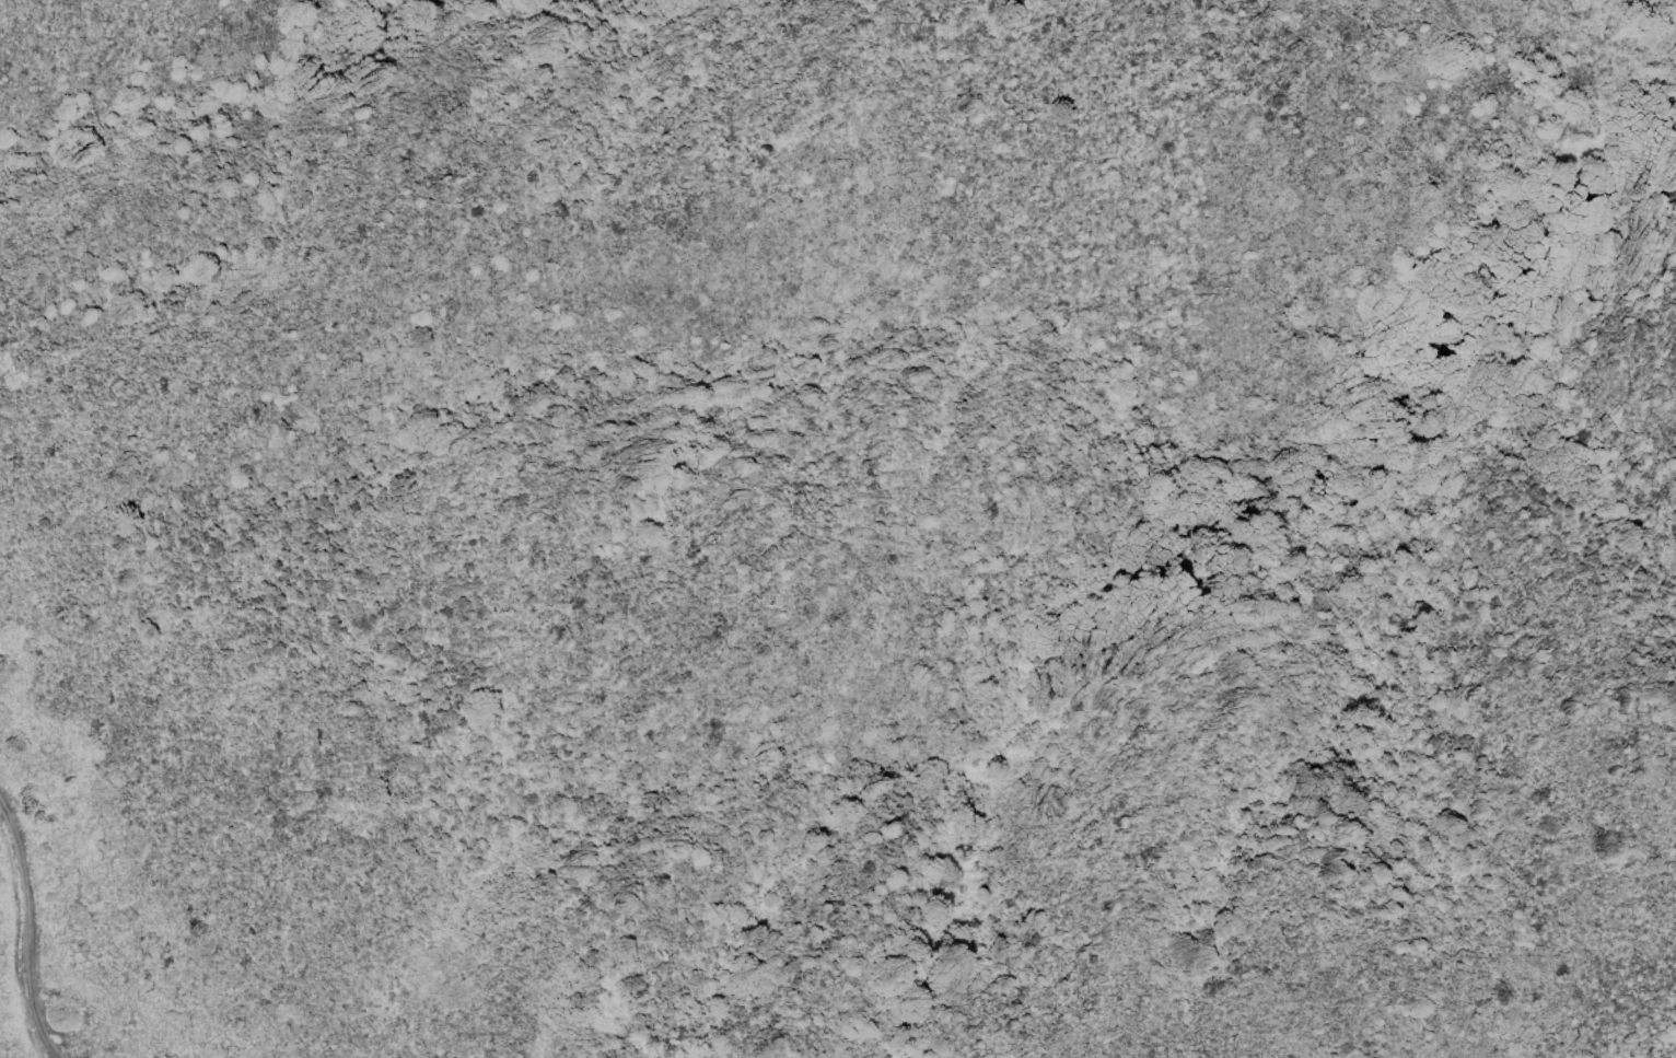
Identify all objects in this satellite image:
road: (34, 925)

